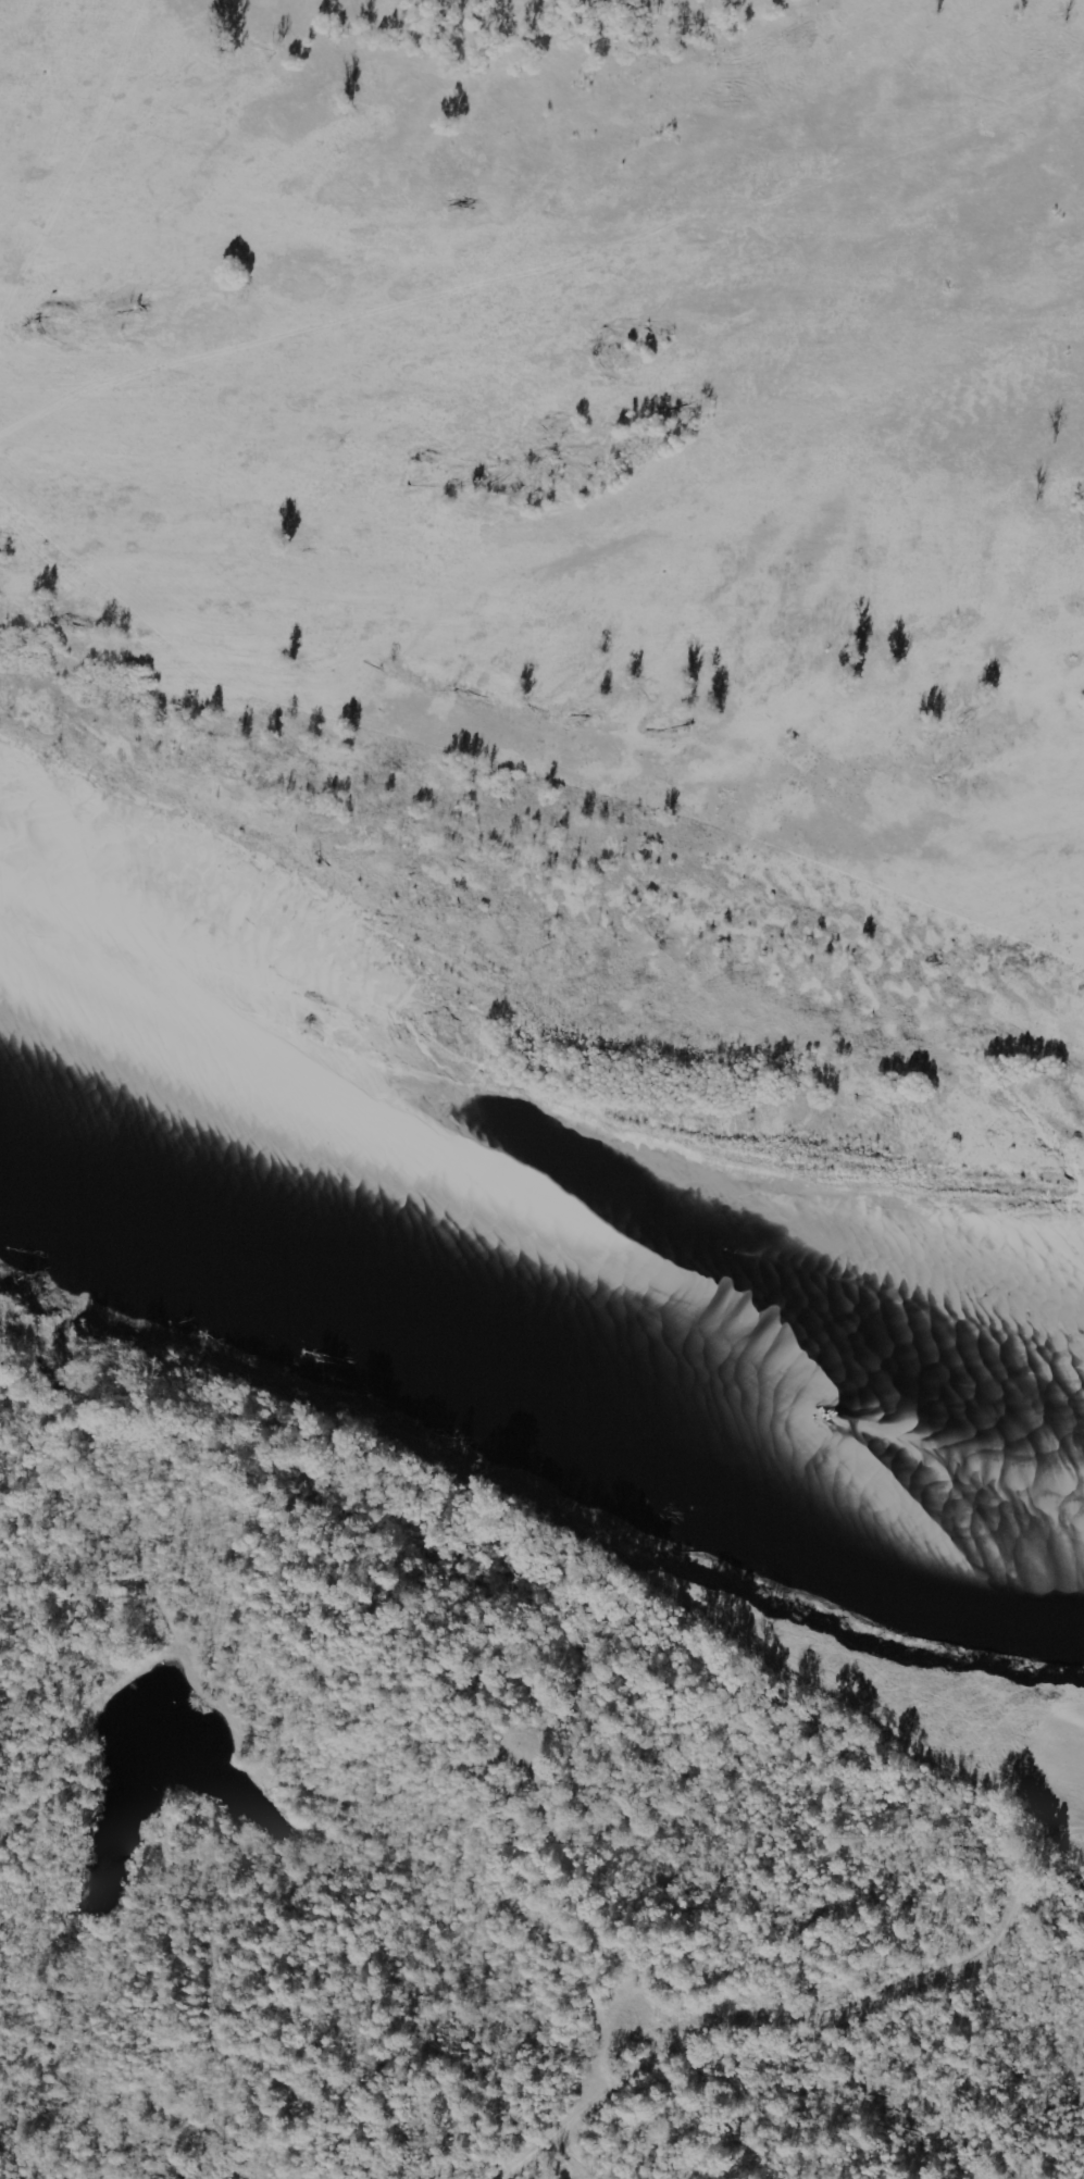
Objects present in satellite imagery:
river: (529, 1247)

